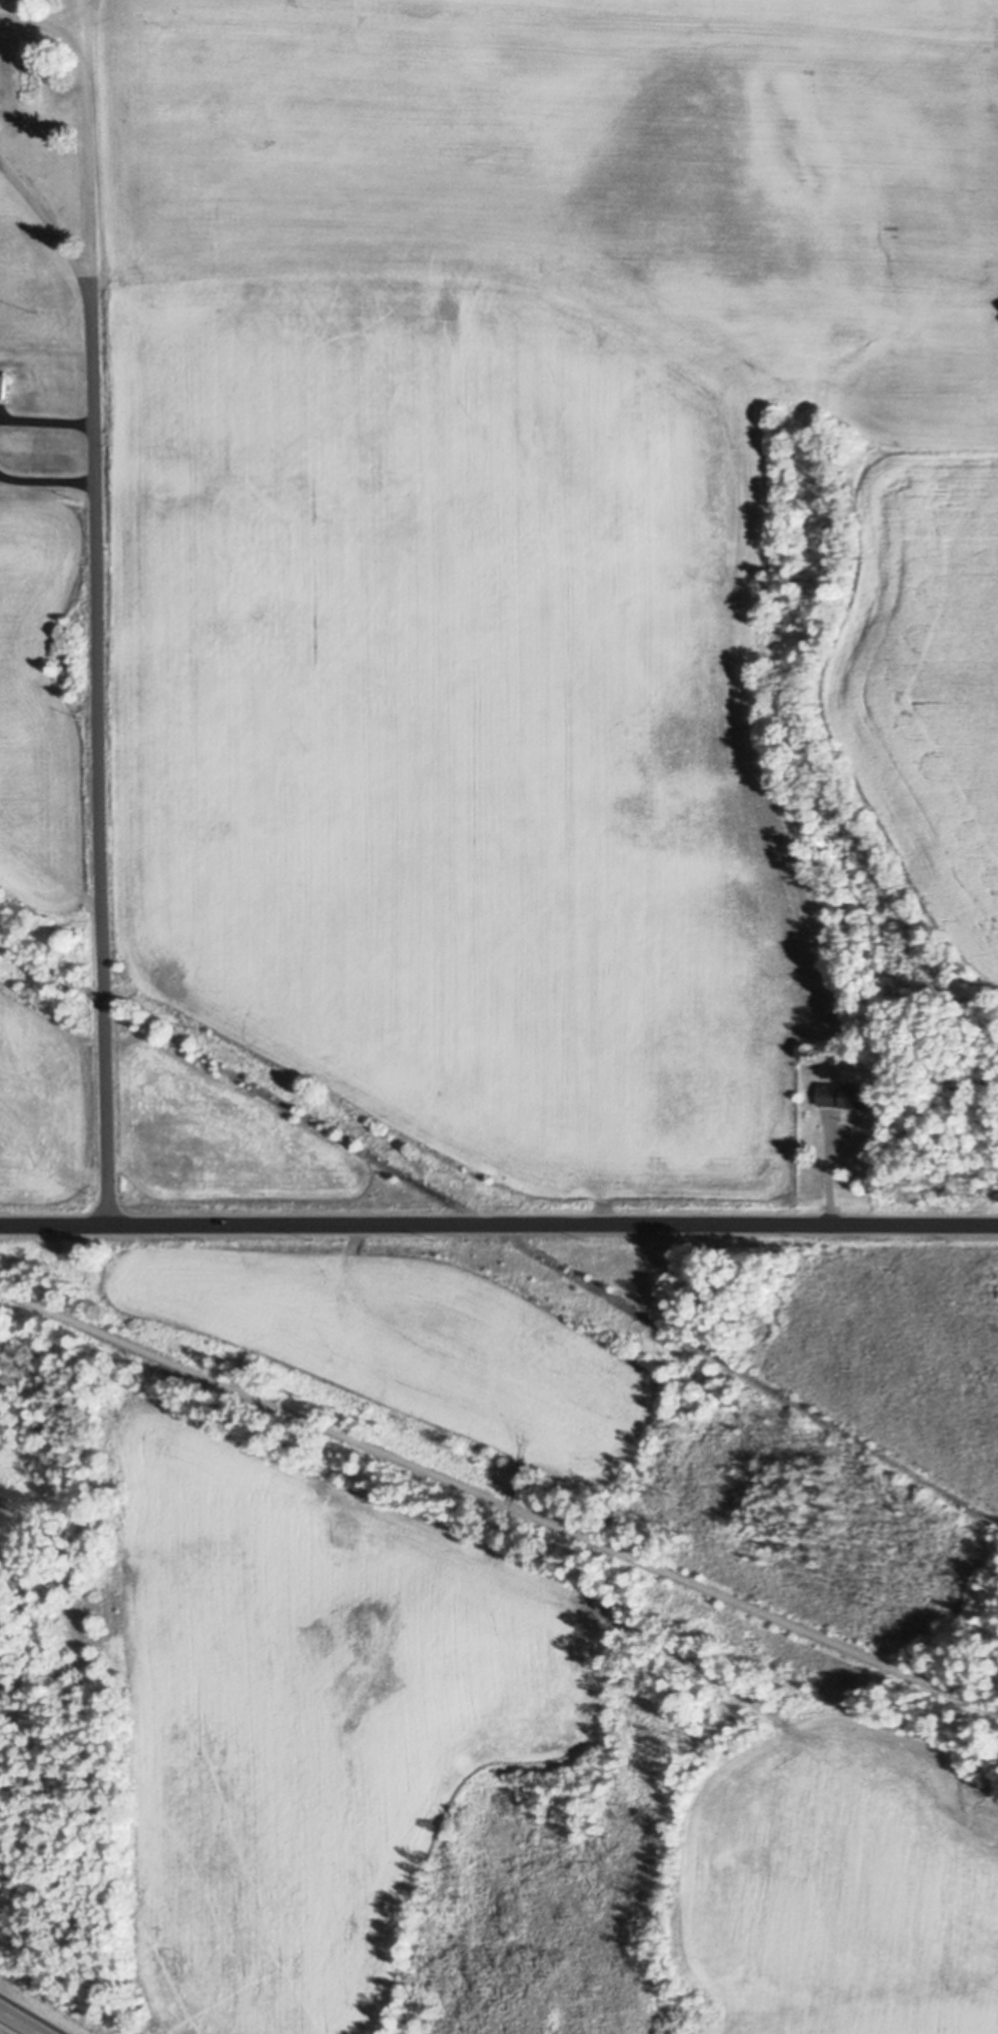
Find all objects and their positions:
road: (85, 125)
road: (48, 224)
road: (46, 421)
road: (45, 482)
road: (98, 755)
building: (846, 1091)
road: (829, 1172)
road: (499, 1222)
road: (499, 1230)
road: (498, 1501)
road: (21, 2021)

